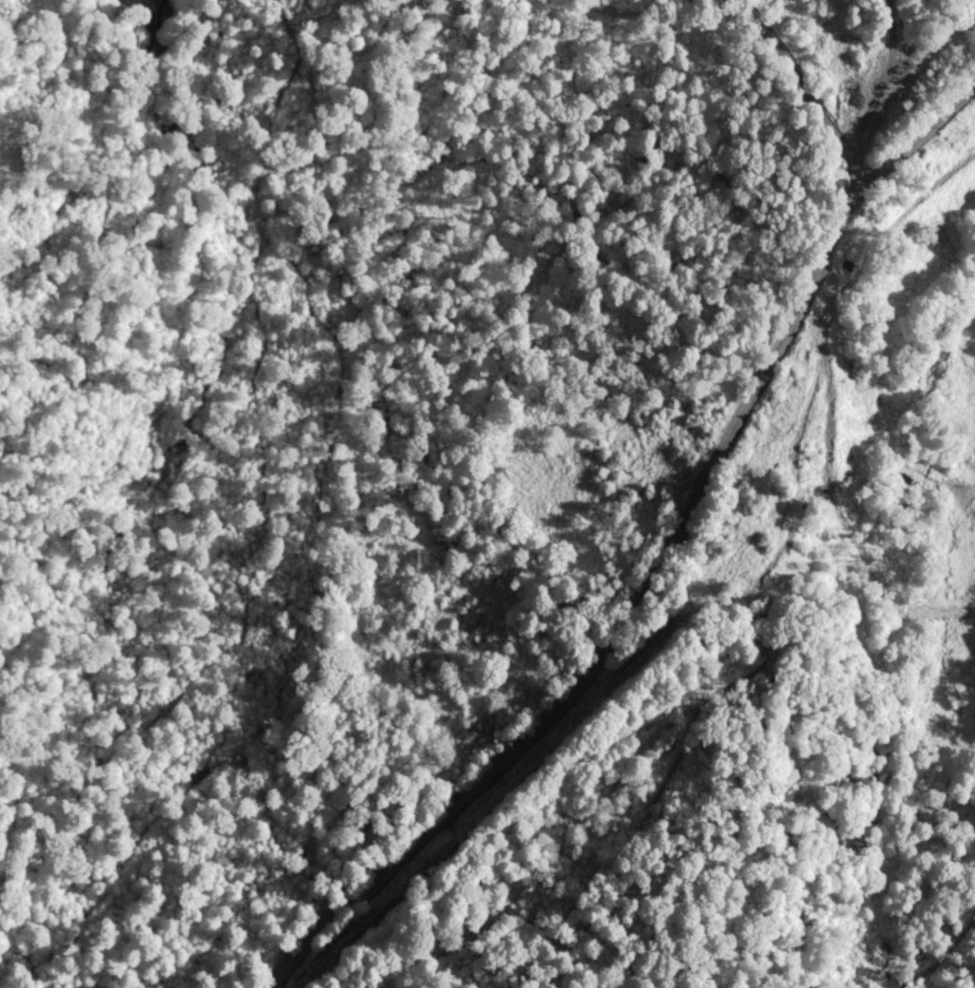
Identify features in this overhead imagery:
road: (663, 560)

